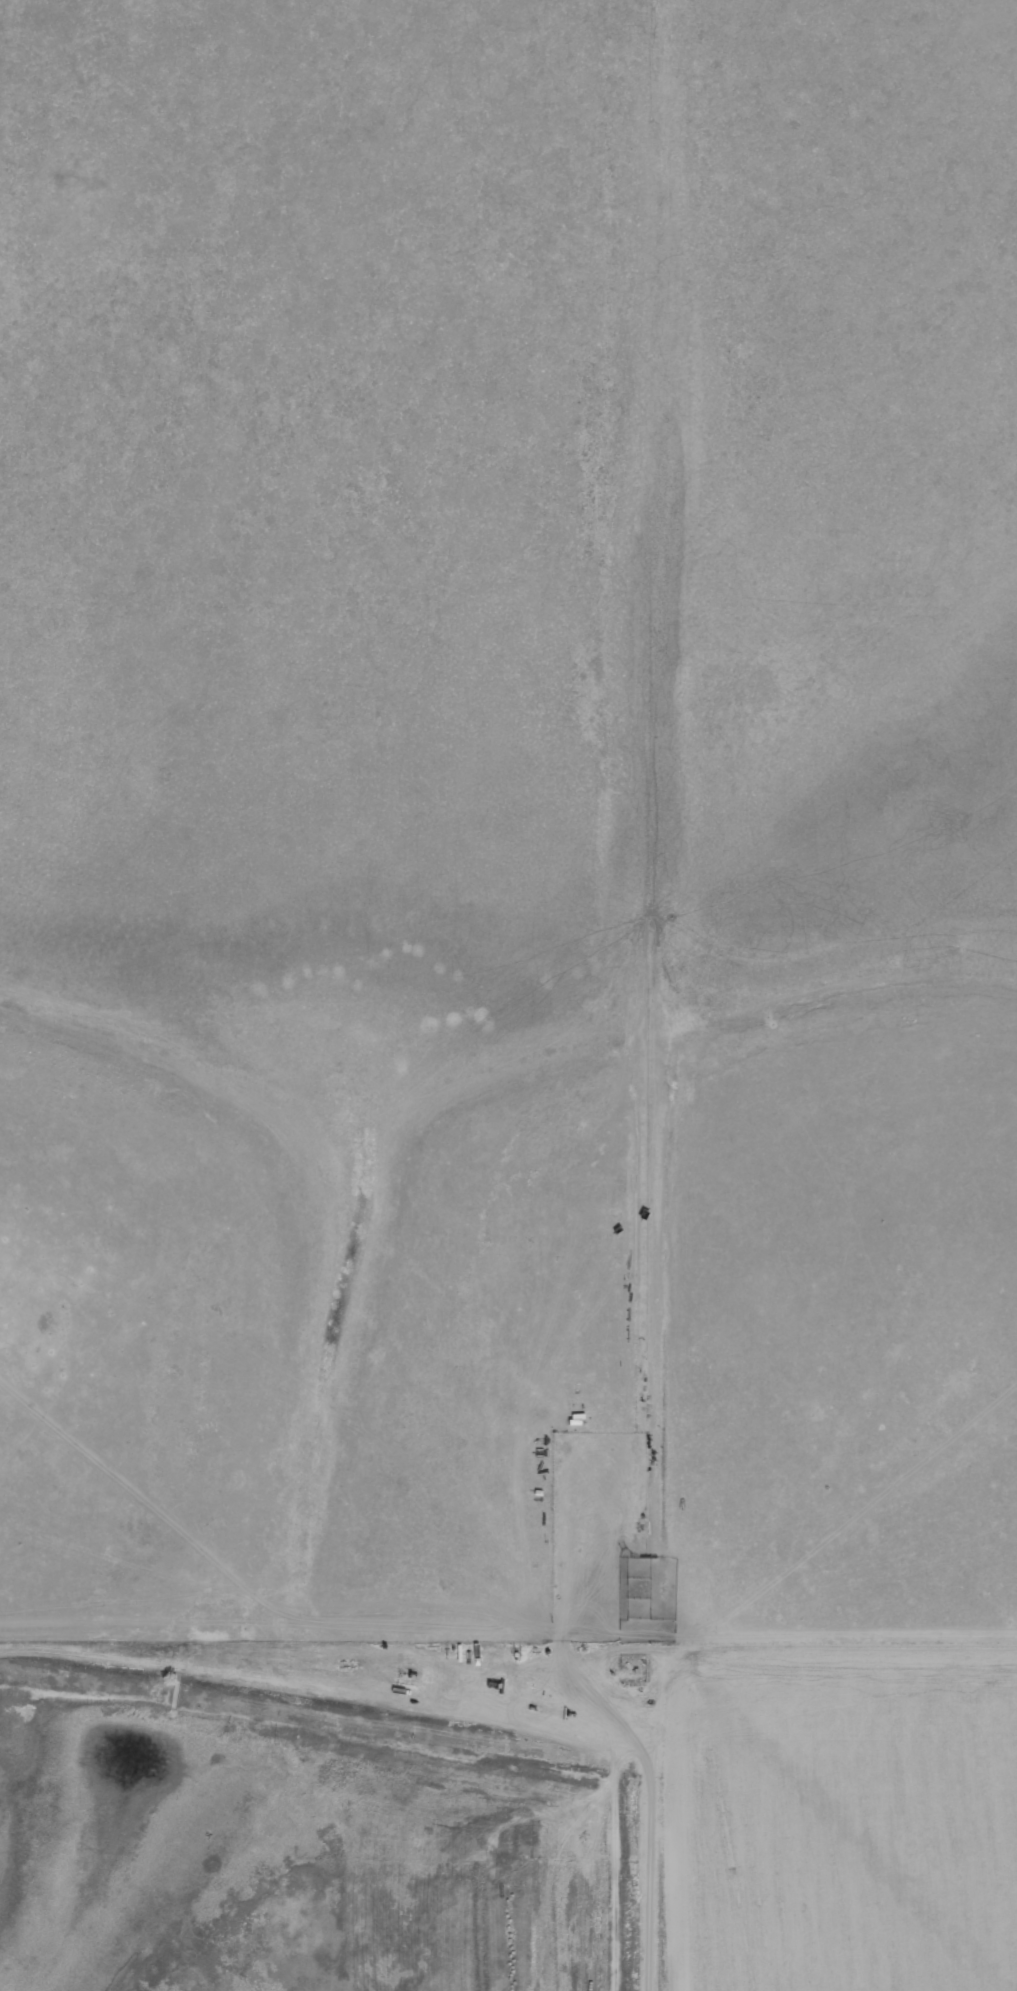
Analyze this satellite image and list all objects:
road: (622, 1883)

